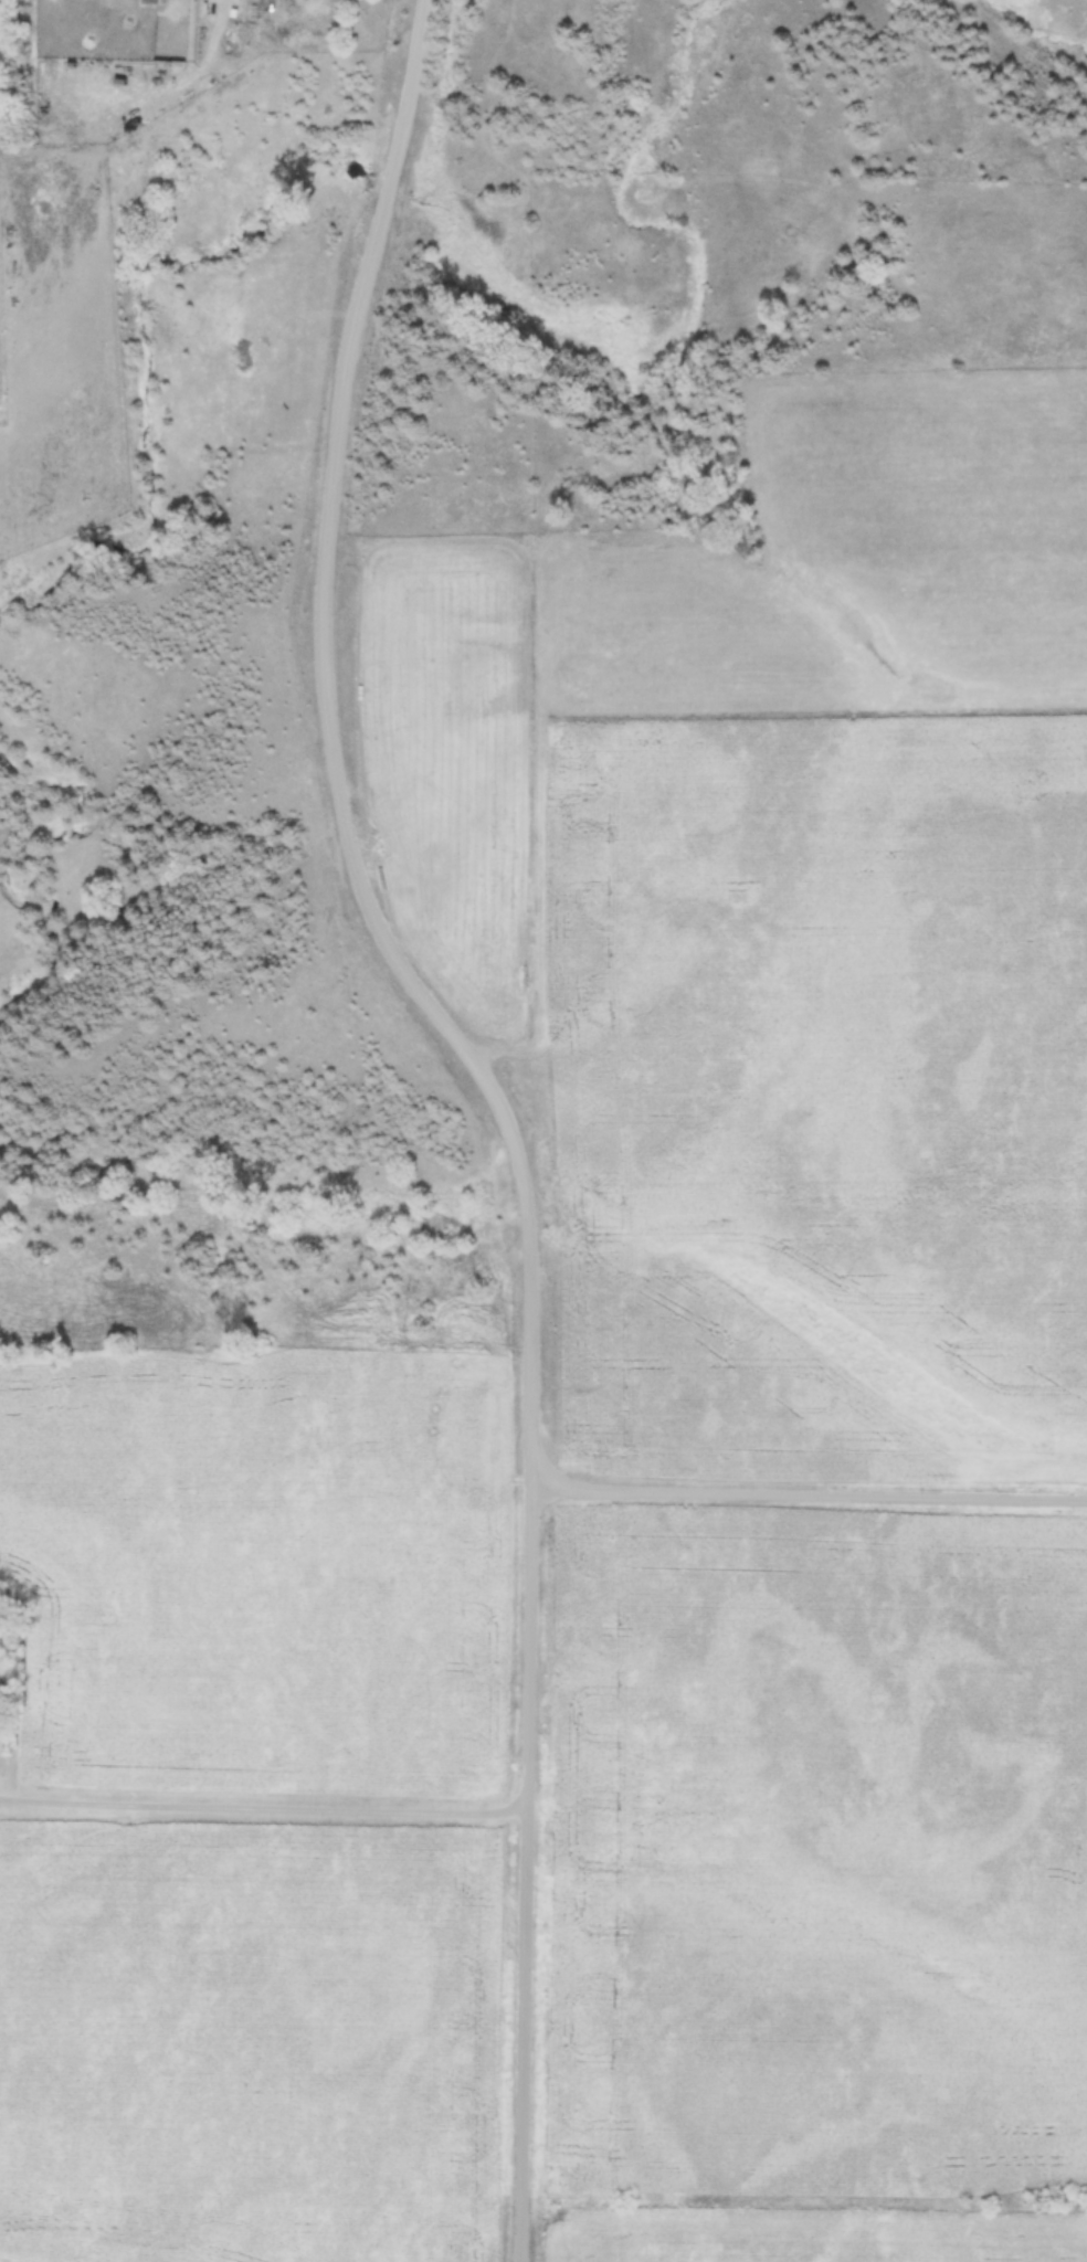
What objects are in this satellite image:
building: (148, 3)
building: (276, 7)
road: (504, 1106)
road: (809, 1499)

